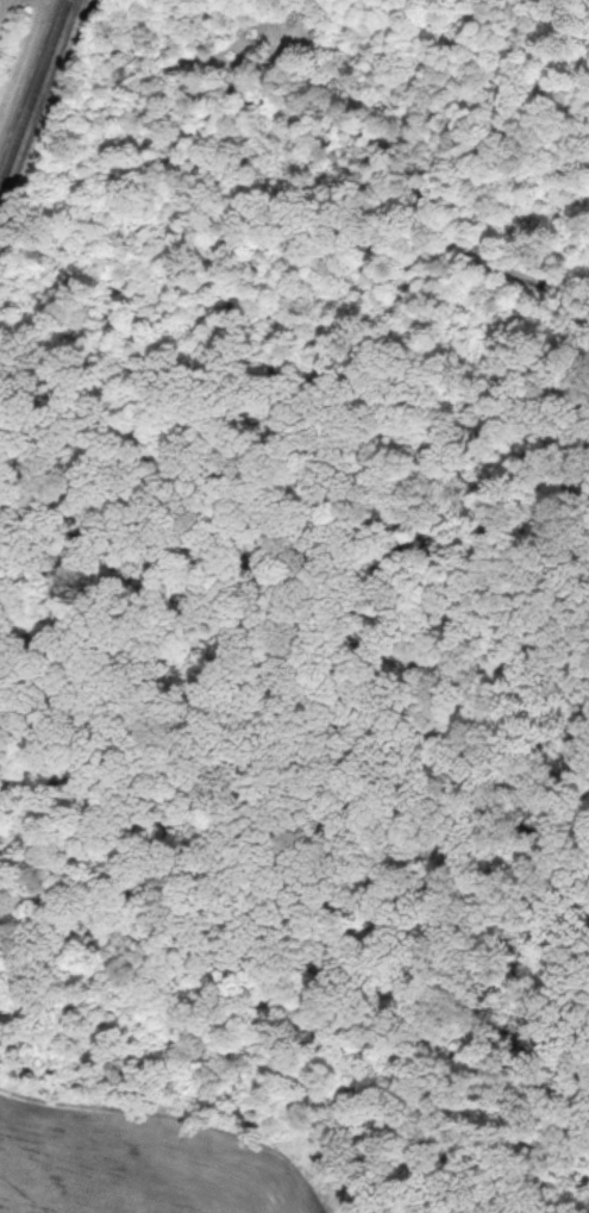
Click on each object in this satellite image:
road: (7, 6)
railway: (33, 93)

